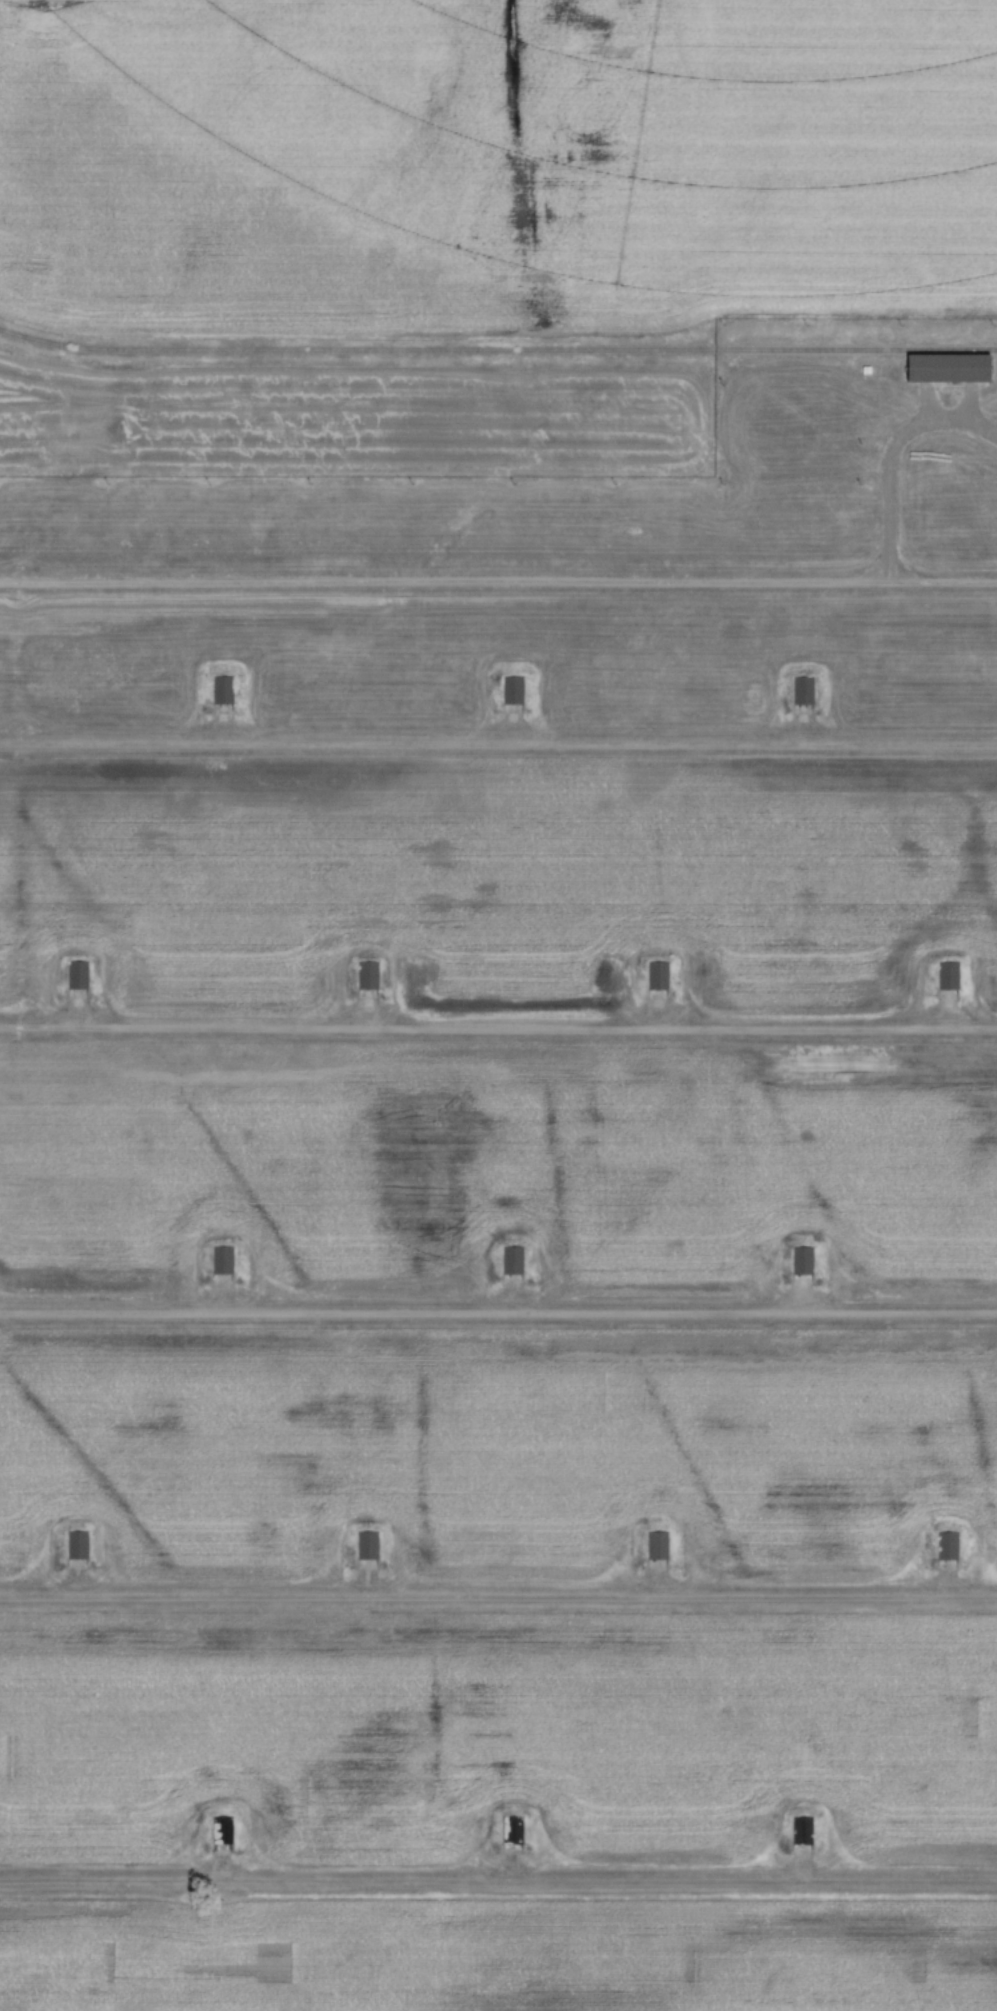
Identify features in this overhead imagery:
railway: (497, 350)
building: (947, 370)
road: (890, 450)
road: (498, 579)
building: (221, 690)
building: (512, 690)
building: (802, 691)
road: (498, 738)
building: (76, 975)
building: (366, 975)
building: (657, 975)
building: (947, 976)
road: (498, 1026)
building: (221, 1260)
building: (512, 1260)
building: (801, 1261)
road: (498, 1310)
building: (76, 1545)
building: (366, 1545)
building: (656, 1545)
building: (946, 1546)
road: (498, 1595)
building: (220, 1830)
building: (510, 1830)
building: (800, 1831)
road: (498, 1878)

